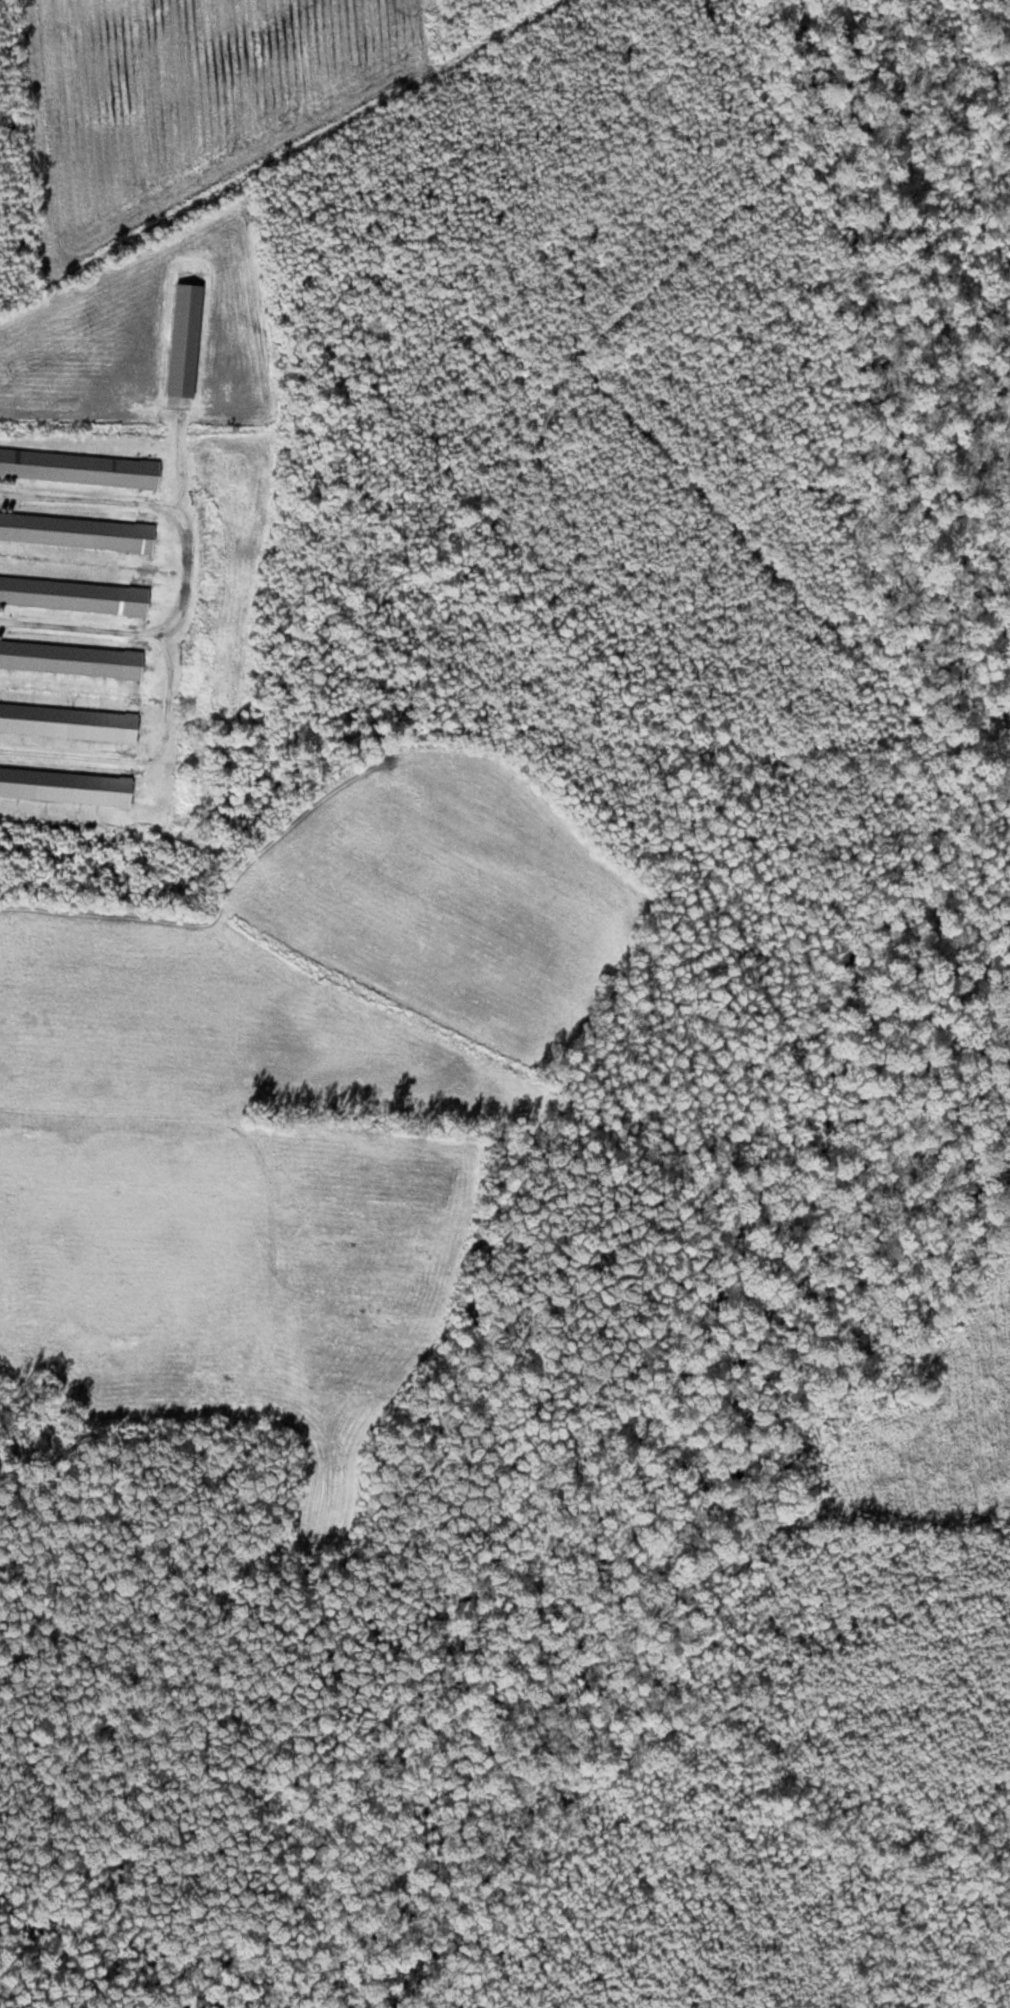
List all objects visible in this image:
building: (187, 339)
building: (80, 467)
building: (78, 530)
building: (75, 594)
building: (72, 657)
building: (70, 721)
building: (67, 785)

